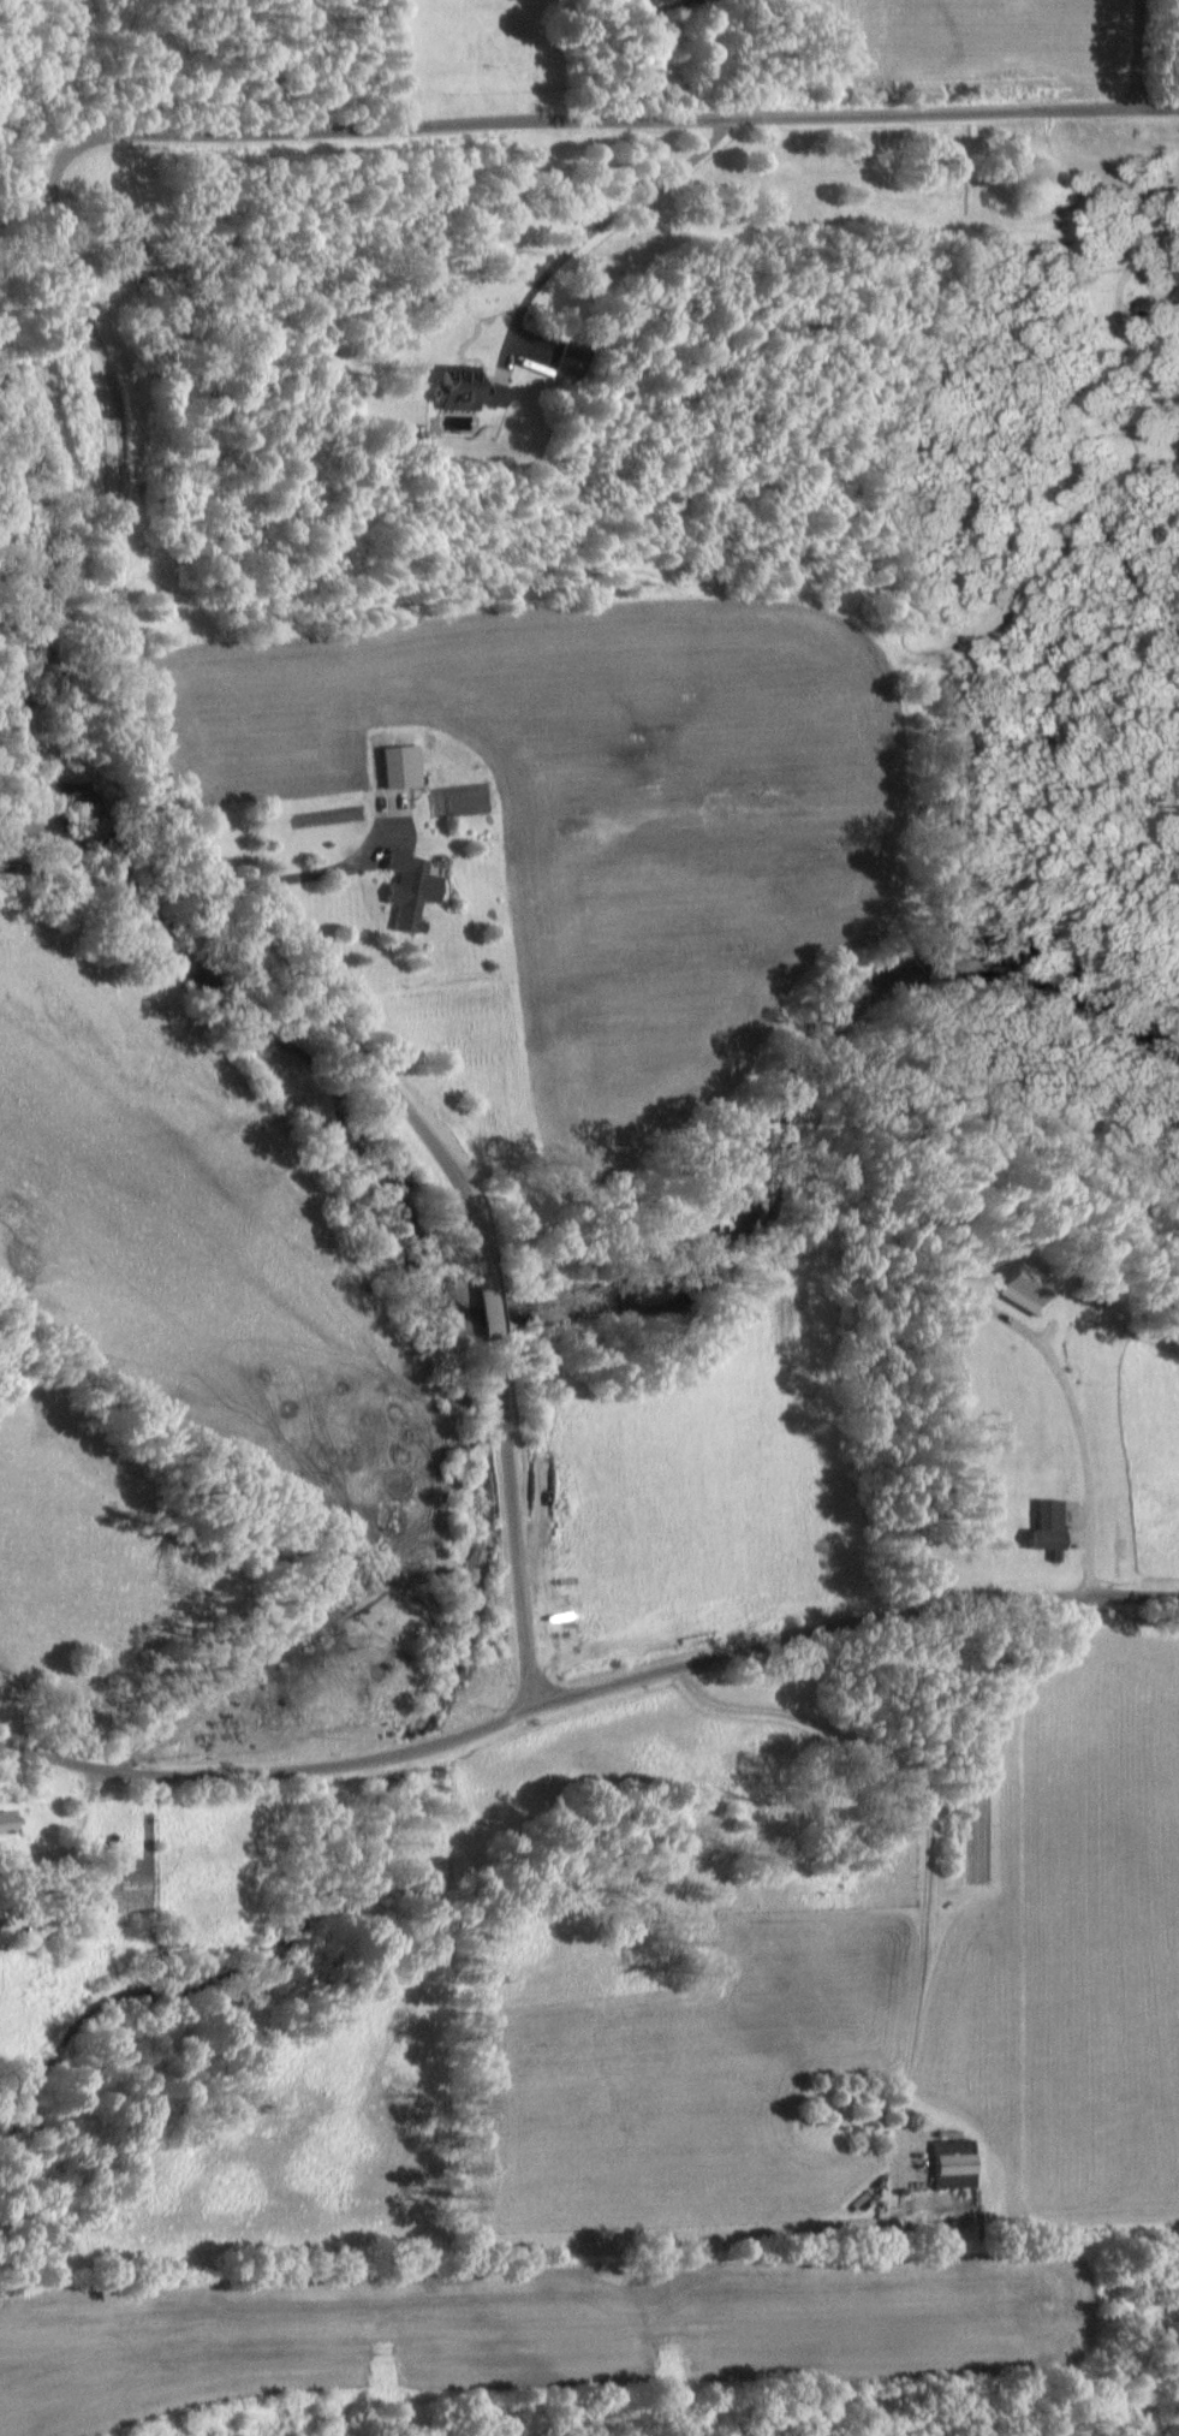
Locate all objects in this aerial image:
road: (1138, 54)
road: (612, 119)
road: (606, 219)
building: (574, 362)
building: (472, 392)
road: (133, 760)
building: (404, 767)
road: (305, 875)
building: (413, 890)
building: (1030, 1289)
road: (490, 1307)
building: (1053, 1526)
road: (514, 1533)
road: (586, 1691)
building: (12, 1826)
road: (931, 1831)
building: (0, 1943)
building: (955, 2165)

